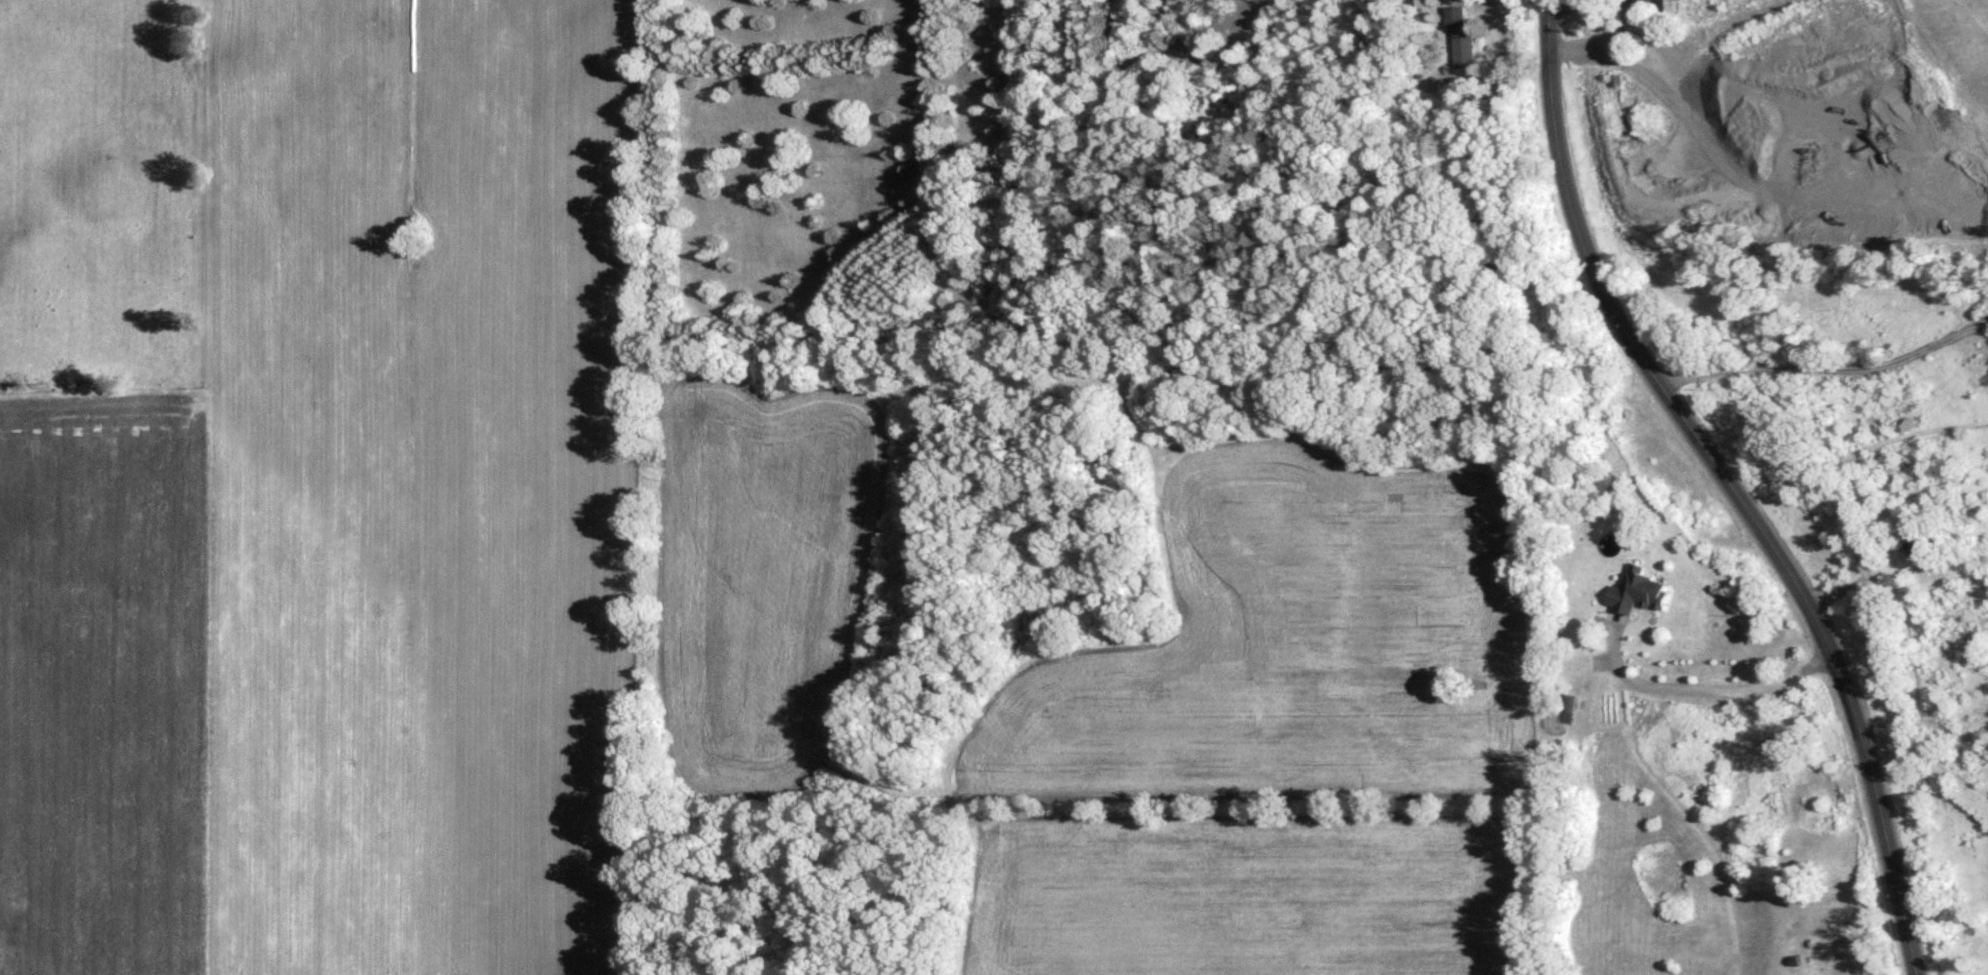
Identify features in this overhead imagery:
building: (1649, 8)
building: (1457, 21)
building: (1465, 54)
road: (1828, 369)
road: (1731, 485)
building: (1917, 553)
building: (1643, 597)
road: (1710, 690)
building: (938, 787)

